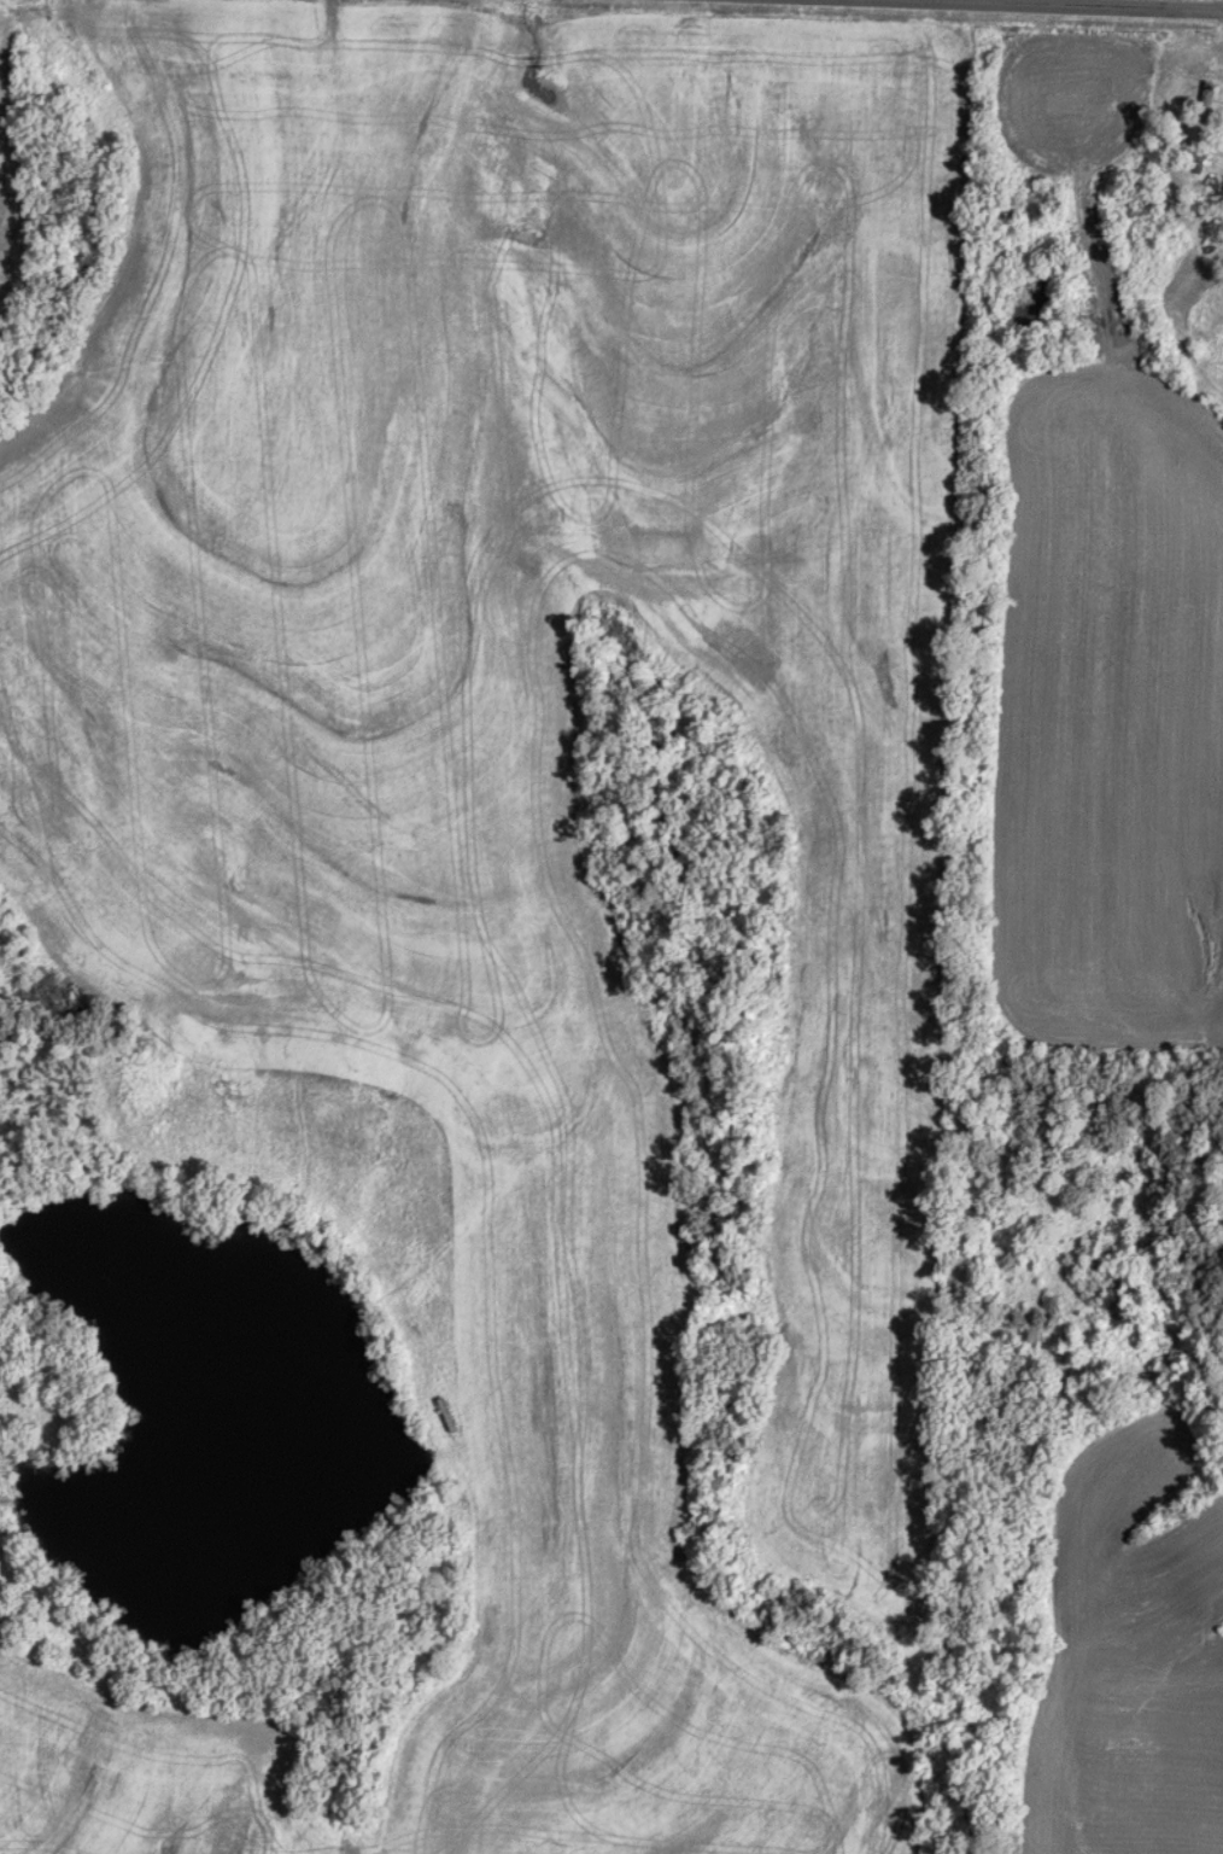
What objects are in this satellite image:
road: (1114, 2)
building: (1205, 171)

